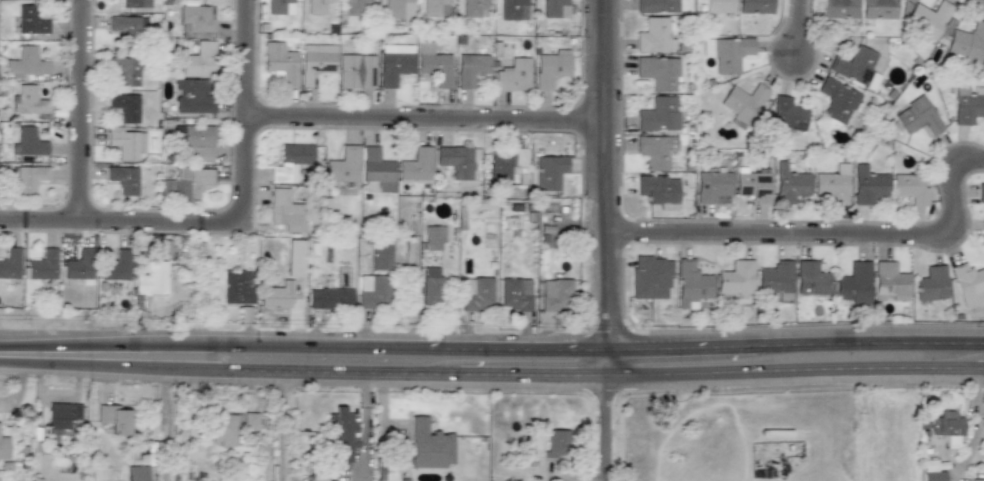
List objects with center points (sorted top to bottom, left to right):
building: (135, 3)
building: (655, 5)
building: (719, 5)
building: (316, 6)
building: (754, 6)
building: (354, 7)
building: (435, 7)
building: (474, 7)
building: (555, 8)
building: (839, 8)
building: (397, 9)
building: (513, 9)
building: (878, 9)
building: (926, 19)
building: (30, 20)
building: (195, 21)
building: (128, 24)
road: (795, 30)
building: (654, 35)
building: (966, 42)
building: (726, 52)
building: (199, 60)
building: (316, 60)
building: (26, 62)
building: (394, 62)
building: (280, 63)
building: (434, 64)
building: (855, 66)
building: (551, 67)
building: (470, 69)
building: (125, 70)
building: (356, 71)
building: (658, 72)
building: (513, 75)
building: (193, 95)
building: (836, 100)
building: (29, 101)
building: (742, 102)
building: (125, 106)
building: (966, 108)
road: (245, 109)
road: (79, 111)
building: (658, 113)
building: (786, 113)
building: (916, 116)
road: (425, 121)
building: (195, 141)
building: (27, 142)
building: (127, 144)
building: (655, 150)
building: (457, 160)
building: (291, 161)
building: (506, 163)
building: (343, 165)
building: (416, 166)
building: (376, 171)
building: (549, 172)
road: (606, 174)
building: (27, 177)
building: (124, 179)
building: (789, 183)
building: (185, 184)
building: (832, 184)
building: (752, 185)
building: (867, 185)
building: (909, 188)
building: (658, 190)
building: (980, 192)
building: (285, 210)
road: (39, 221)
road: (158, 222)
building: (982, 230)
road: (831, 232)
building: (434, 237)
building: (380, 254)
building: (295, 257)
building: (10, 263)
building: (115, 263)
building: (42, 264)
building: (79, 265)
building: (650, 277)
building: (736, 277)
building: (776, 278)
building: (811, 278)
building: (151, 279)
building: (890, 280)
building: (853, 283)
building: (931, 283)
building: (968, 283)
building: (691, 284)
building: (431, 285)
building: (238, 287)
building: (373, 291)
building: (476, 293)
building: (555, 294)
building: (276, 295)
building: (512, 295)
building: (330, 298)
road: (870, 342)
road: (78, 344)
road: (292, 345)
road: (682, 347)
road: (517, 348)
road: (605, 361)
road: (76, 364)
road: (189, 368)
road: (788, 368)
road: (979, 368)
road: (414, 372)
building: (62, 416)
building: (114, 418)
building: (250, 421)
road: (282, 425)
building: (947, 426)
road: (603, 427)
building: (222, 428)
building: (342, 433)
building: (556, 443)
building: (429, 444)
building: (4, 447)
building: (931, 471)
building: (136, 473)

